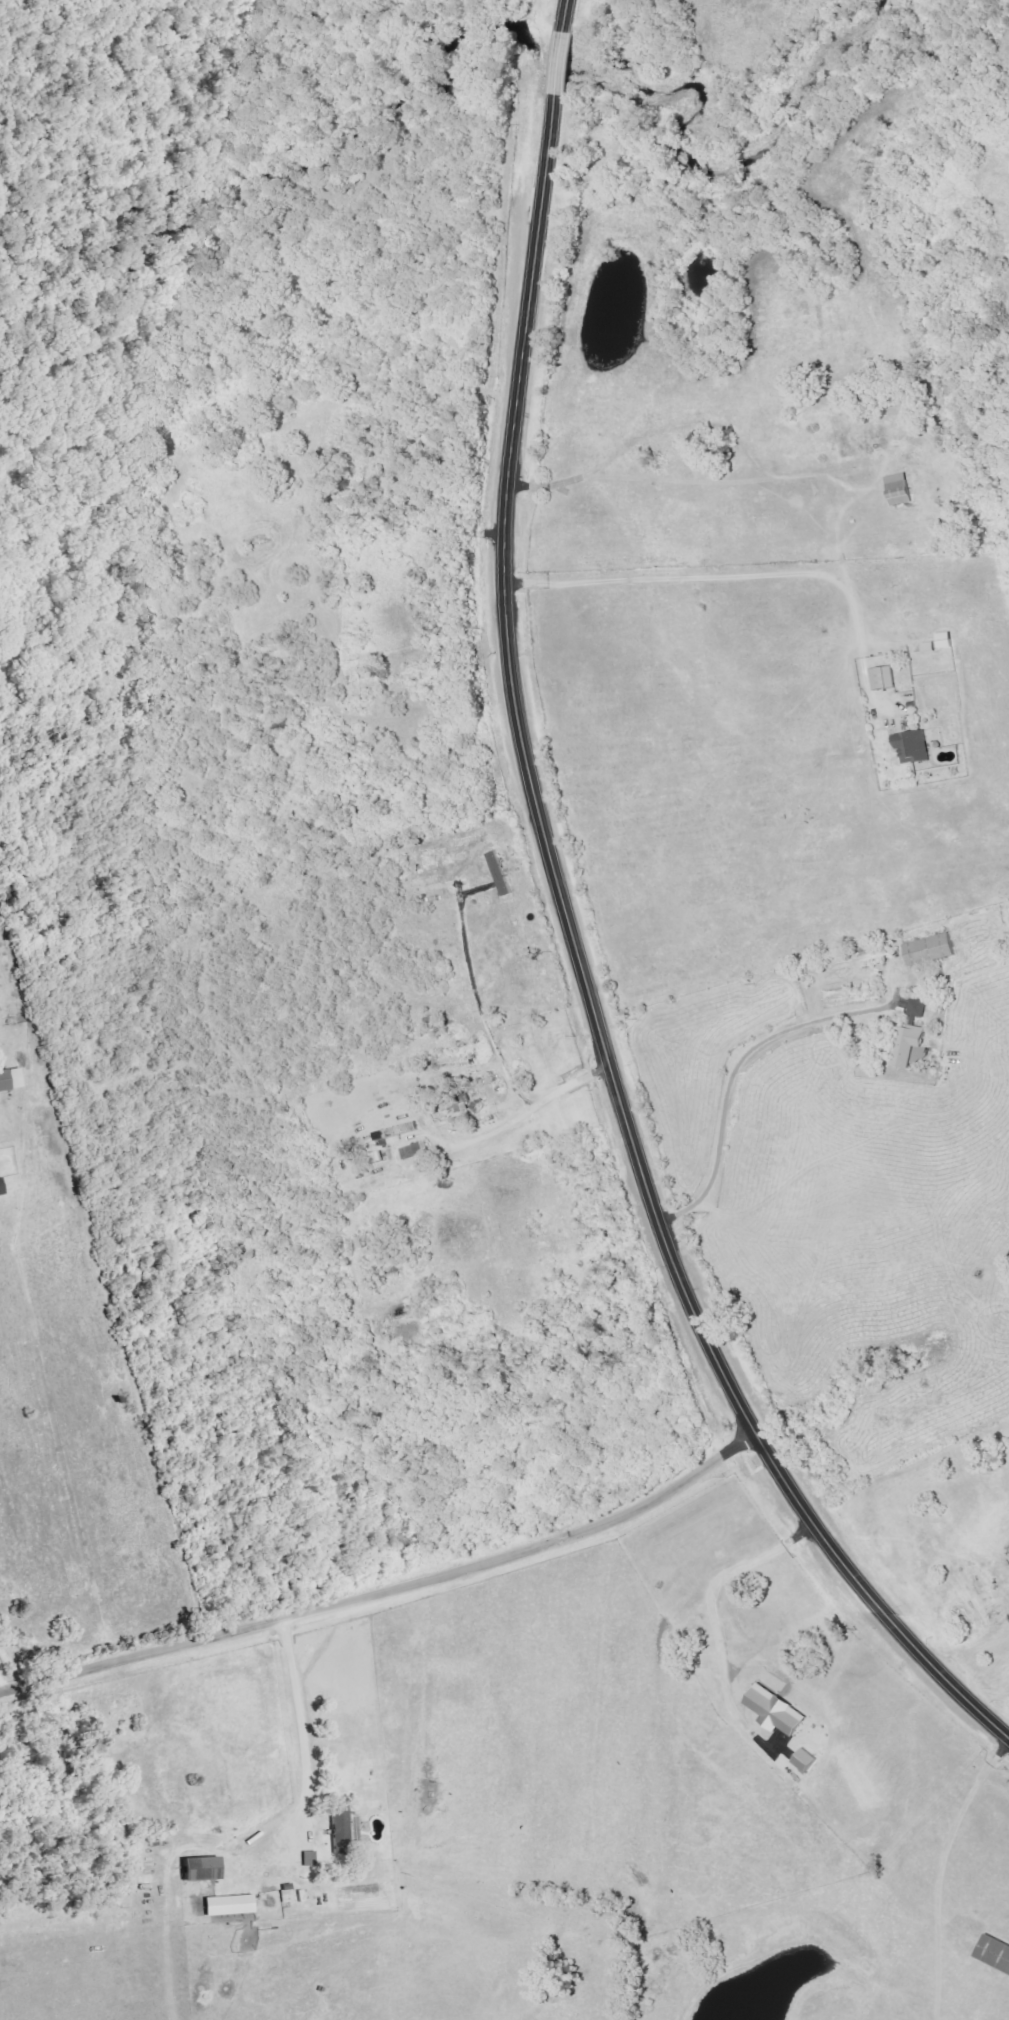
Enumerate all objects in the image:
park: (959, 254)
building: (903, 489)
road: (712, 561)
building: (948, 639)
building: (932, 646)
building: (887, 678)
building: (918, 747)
road: (575, 926)
building: (933, 949)
building: (920, 1007)
building: (911, 1043)
road: (736, 1071)
building: (12, 1079)
road: (530, 1110)
building: (399, 1131)
building: (417, 1150)
building: (2, 1187)
road: (391, 1592)
road: (2, 1685)
road: (300, 1727)
building: (347, 1828)
building: (311, 1859)
building: (204, 1870)
building: (231, 1906)
building: (998, 1952)

